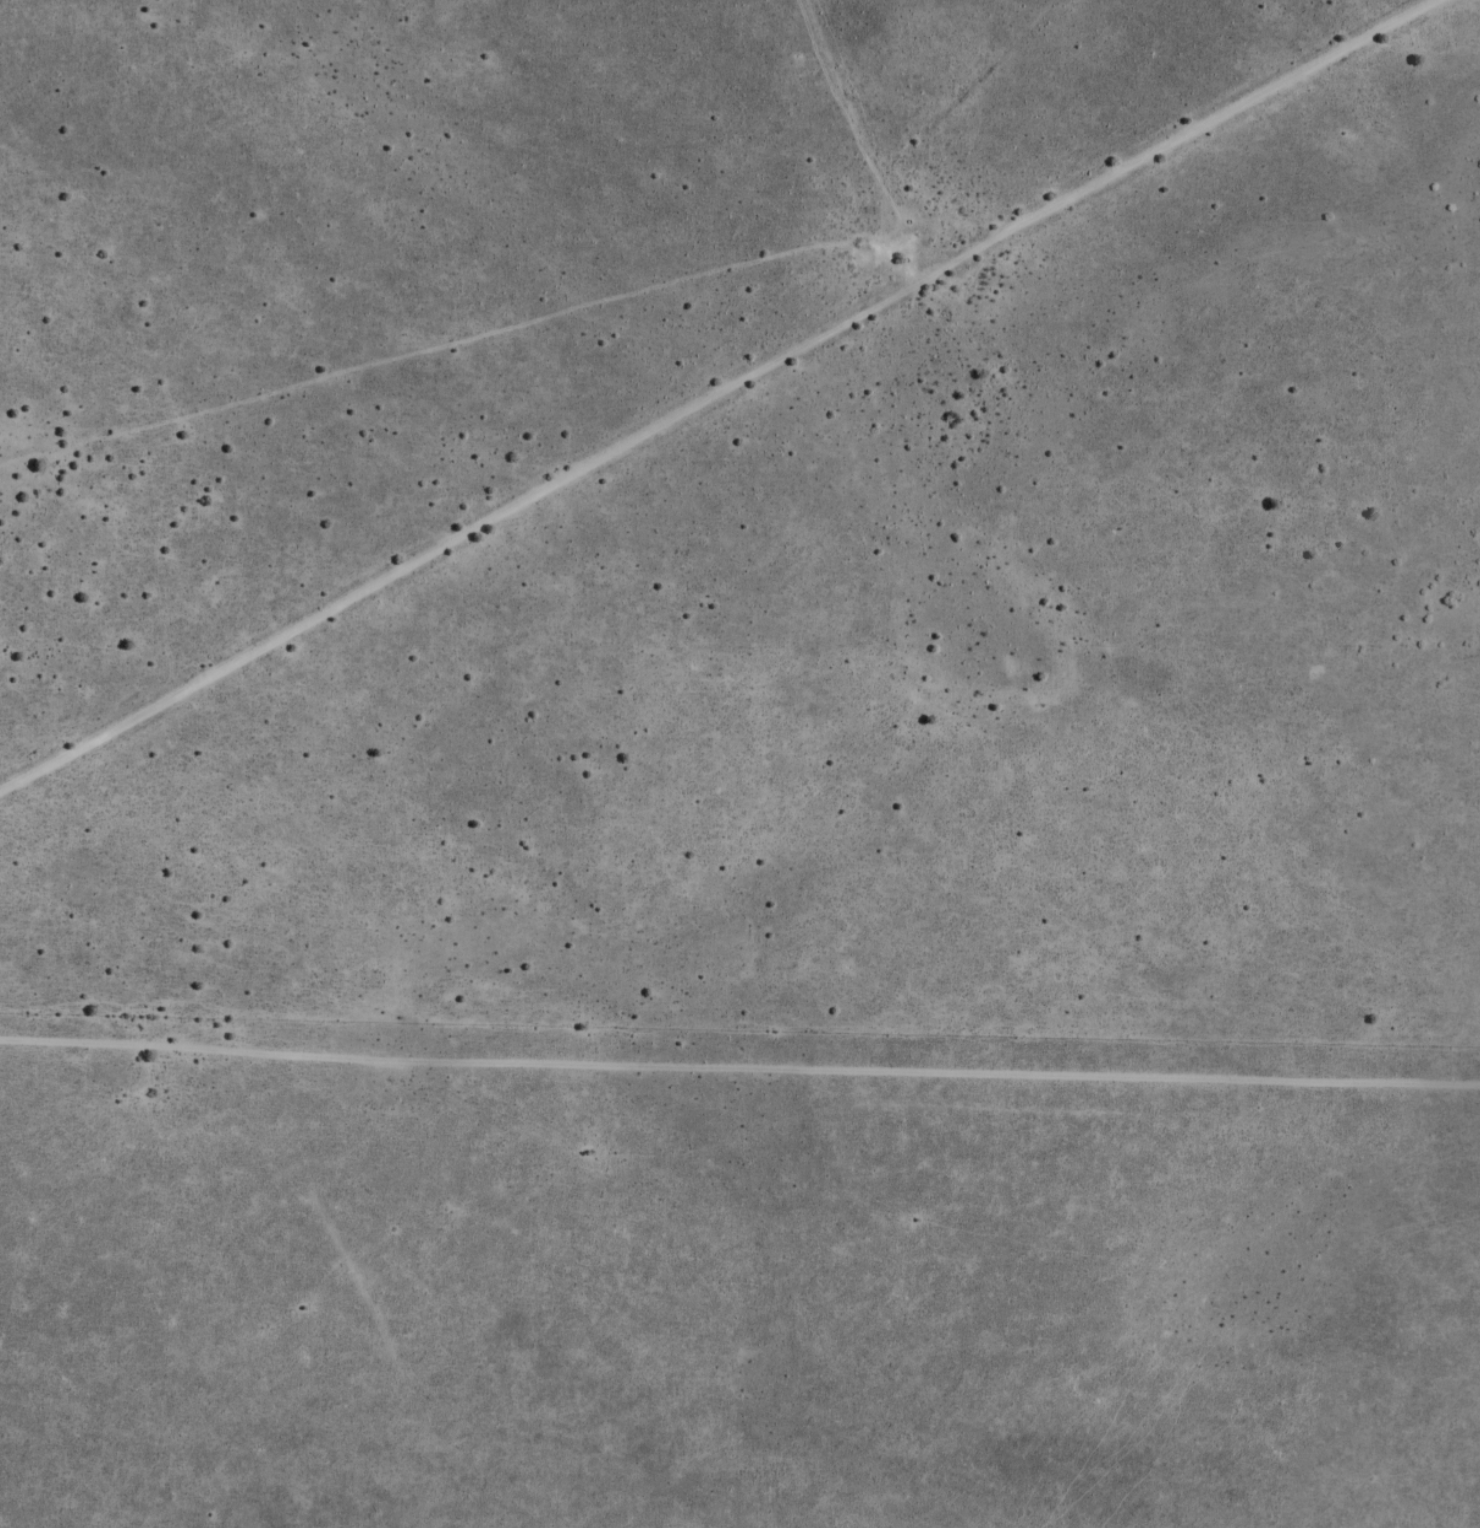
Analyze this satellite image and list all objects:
road: (715, 386)

